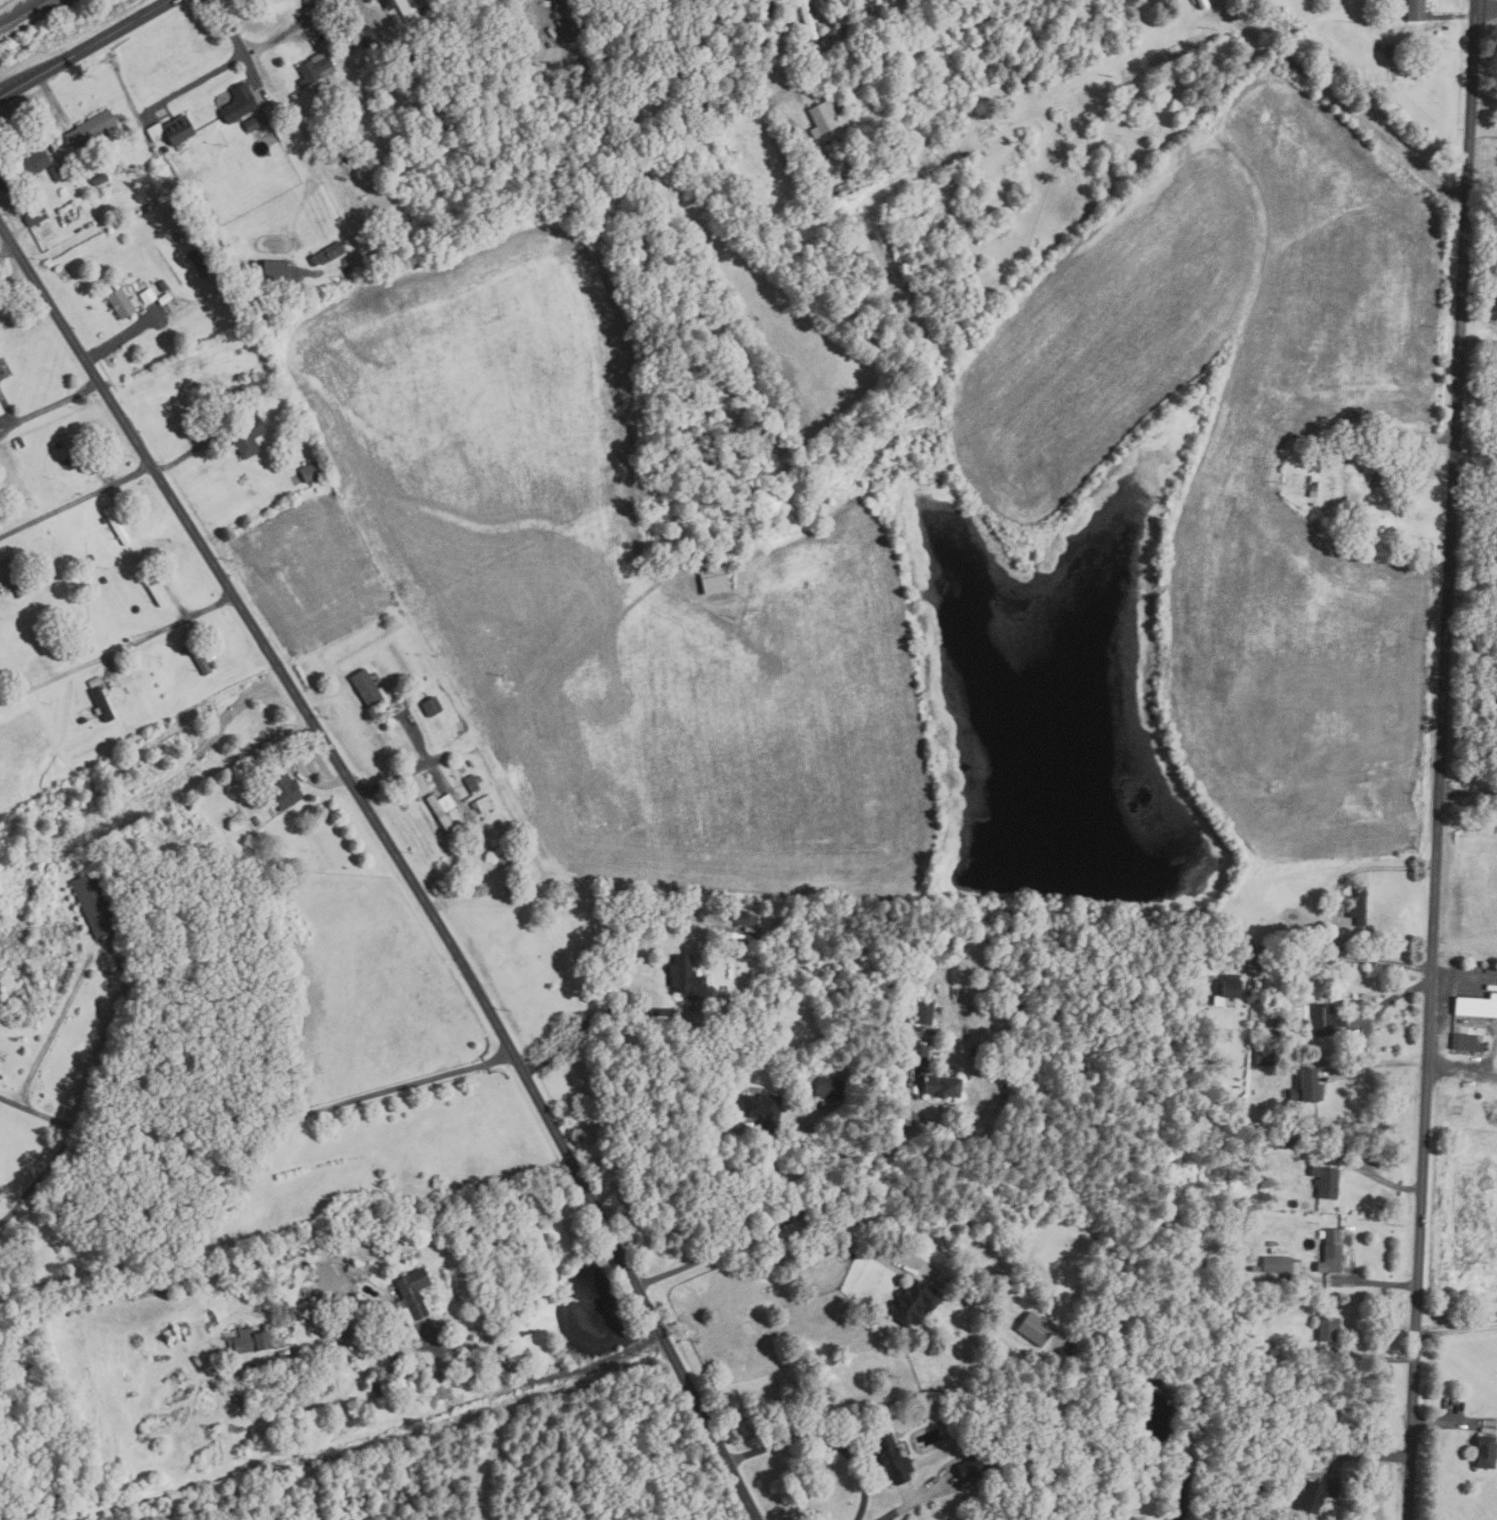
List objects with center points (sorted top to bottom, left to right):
building: (1194, 0)
building: (1204, 4)
building: (411, 5)
building: (877, 6)
road: (1486, 8)
building: (1417, 10)
railway: (22, 12)
road: (1453, 16)
building: (982, 17)
building: (809, 19)
road: (834, 36)
building: (368, 40)
road: (258, 46)
road: (85, 48)
building: (1228, 49)
building: (1391, 52)
building: (317, 68)
building: (381, 71)
building: (972, 76)
road: (195, 79)
building: (1113, 101)
building: (240, 103)
building: (823, 118)
building: (1065, 122)
building: (252, 124)
building: (179, 129)
building: (92, 130)
road: (1483, 130)
building: (1026, 141)
road: (1389, 141)
building: (899, 151)
building: (813, 158)
building: (1103, 158)
building: (957, 161)
building: (34, 162)
building: (804, 165)
building: (851, 173)
building: (820, 177)
building: (101, 178)
building: (839, 190)
building: (971, 192)
building: (915, 195)
road: (1095, 204)
building: (35, 217)
building: (989, 224)
building: (332, 252)
building: (196, 257)
building: (315, 261)
building: (278, 270)
building: (205, 271)
building: (163, 286)
road: (1479, 291)
building: (148, 296)
building: (123, 303)
building: (2, 371)
road: (1495, 398)
road: (50, 406)
building: (1, 409)
building: (247, 435)
building: (1361, 440)
building: (20, 443)
building: (76, 453)
road: (1410, 453)
building: (311, 472)
building: (1341, 478)
building: (1314, 489)
road: (76, 505)
building: (103, 521)
building: (118, 525)
building: (92, 558)
building: (13, 577)
building: (716, 581)
building: (153, 587)
building: (184, 650)
road: (118, 653)
building: (197, 657)
building: (96, 682)
building: (368, 686)
building: (103, 704)
building: (433, 707)
building: (84, 720)
road: (415, 737)
road: (1439, 759)
building: (472, 763)
road: (300, 771)
road: (400, 776)
road: (447, 781)
building: (474, 781)
building: (286, 790)
road: (1467, 792)
building: (484, 803)
building: (443, 809)
building: (258, 820)
building: (471, 824)
road: (401, 857)
road: (585, 901)
building: (1361, 905)
building: (97, 907)
building: (745, 918)
building: (1298, 930)
road: (1385, 942)
road: (1463, 946)
road: (1339, 958)
building: (688, 977)
building: (1234, 987)
road: (1387, 1000)
building: (1477, 1005)
building: (925, 1012)
road: (603, 1013)
building: (1326, 1019)
road: (51, 1034)
road: (1491, 1037)
building: (1467, 1042)
building: (919, 1054)
building: (1267, 1056)
road: (1374, 1064)
road: (1461, 1065)
building: (944, 1085)
building: (1309, 1085)
building: (829, 1088)
road: (909, 1103)
building: (765, 1111)
road: (257, 1116)
road: (1369, 1173)
building: (1328, 1181)
road: (718, 1184)
building: (1295, 1220)
road: (778, 1222)
road: (860, 1249)
building: (1332, 1251)
building: (1279, 1264)
building: (355, 1270)
road: (1375, 1282)
building: (415, 1292)
building: (916, 1302)
building: (316, 1316)
road: (1456, 1316)
building: (1038, 1328)
building: (1329, 1328)
road: (1456, 1330)
building: (250, 1340)
building: (1272, 1351)
road: (1368, 1355)
building: (418, 1367)
road: (540, 1379)
building: (384, 1390)
building: (1349, 1417)
road: (1451, 1423)
road: (823, 1440)
building: (1487, 1451)
road: (1364, 1455)
building: (893, 1458)
building: (977, 1465)
building: (1259, 1484)
building: (1318, 1494)
road: (908, 1507)

